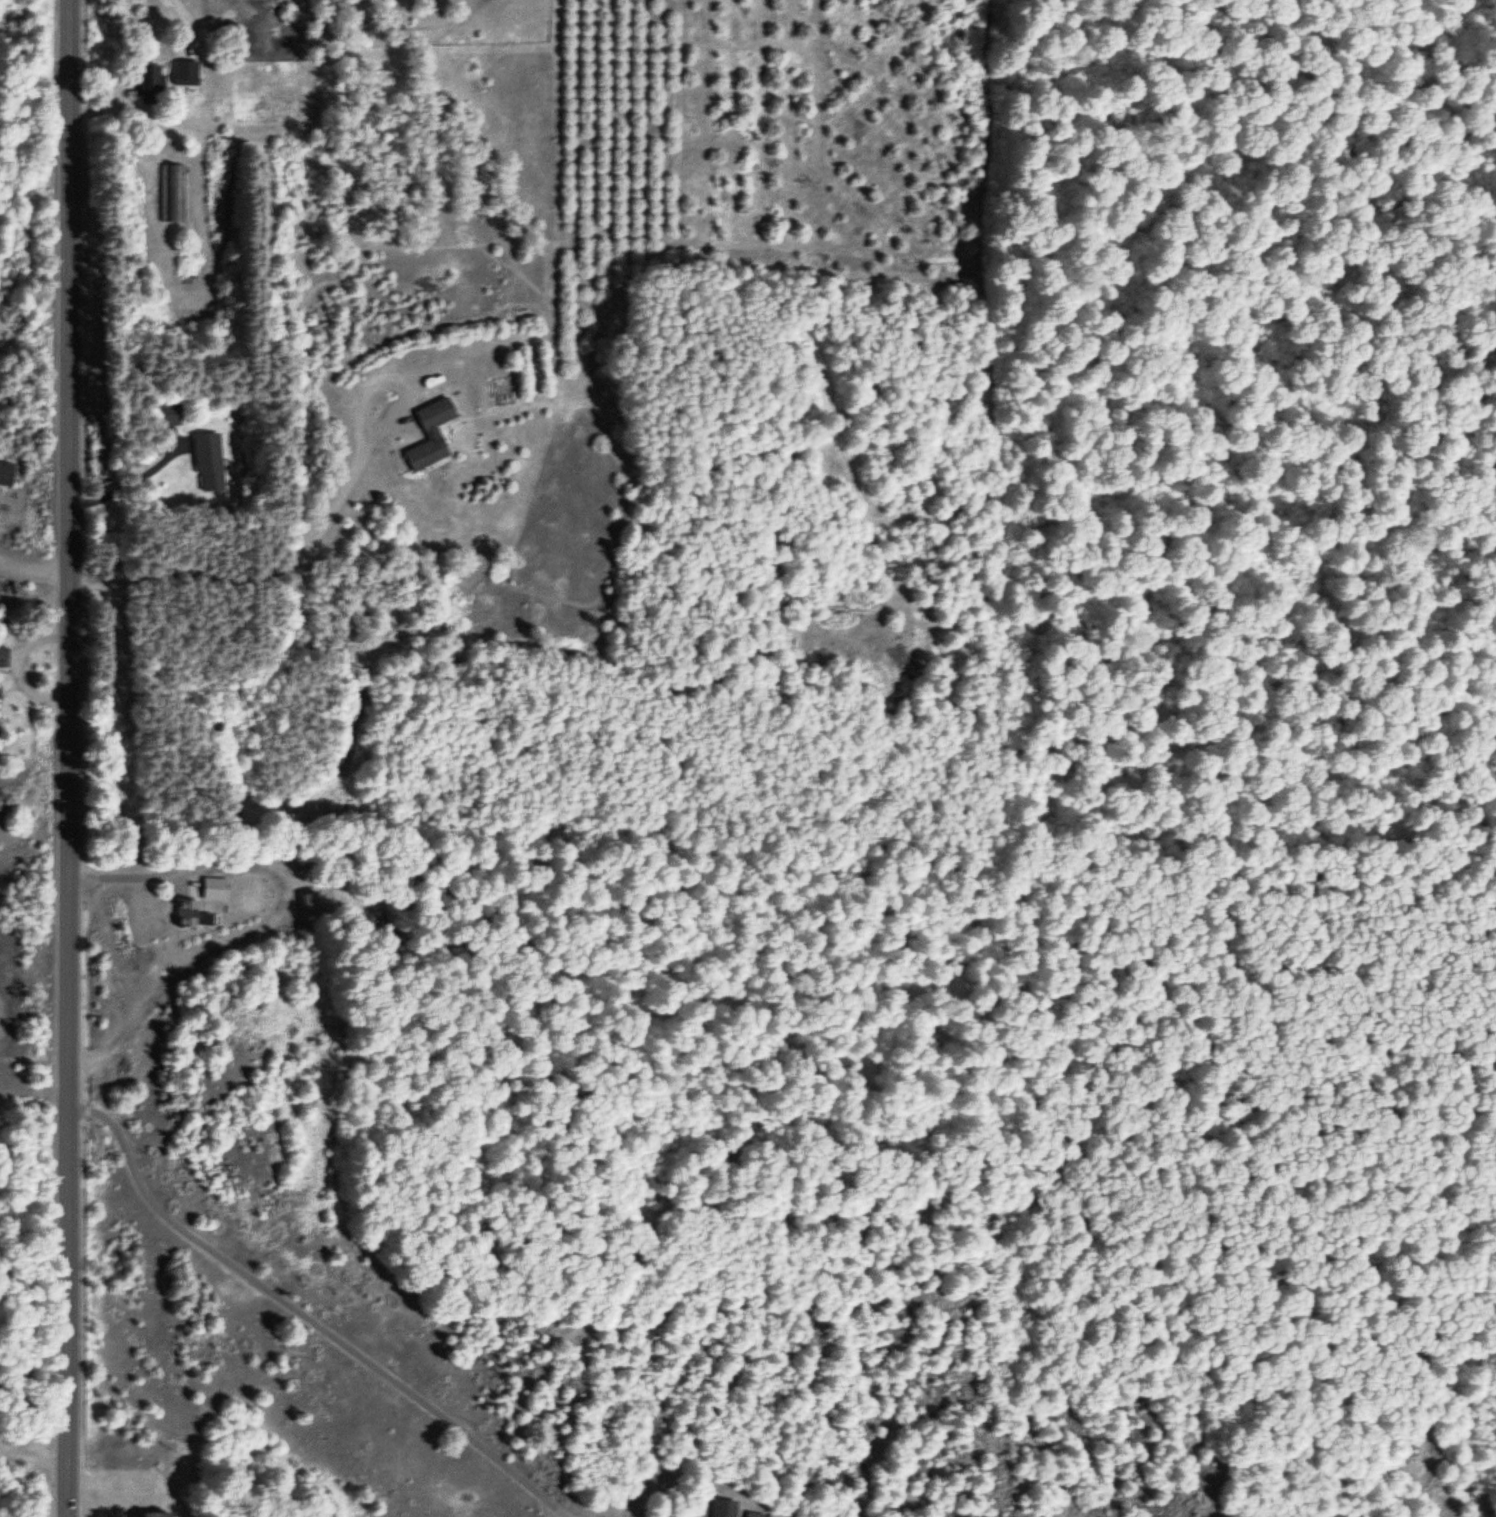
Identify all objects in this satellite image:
building: (173, 197)
building: (426, 435)
building: (7, 475)
road: (194, 517)
road: (70, 758)
building: (185, 915)

